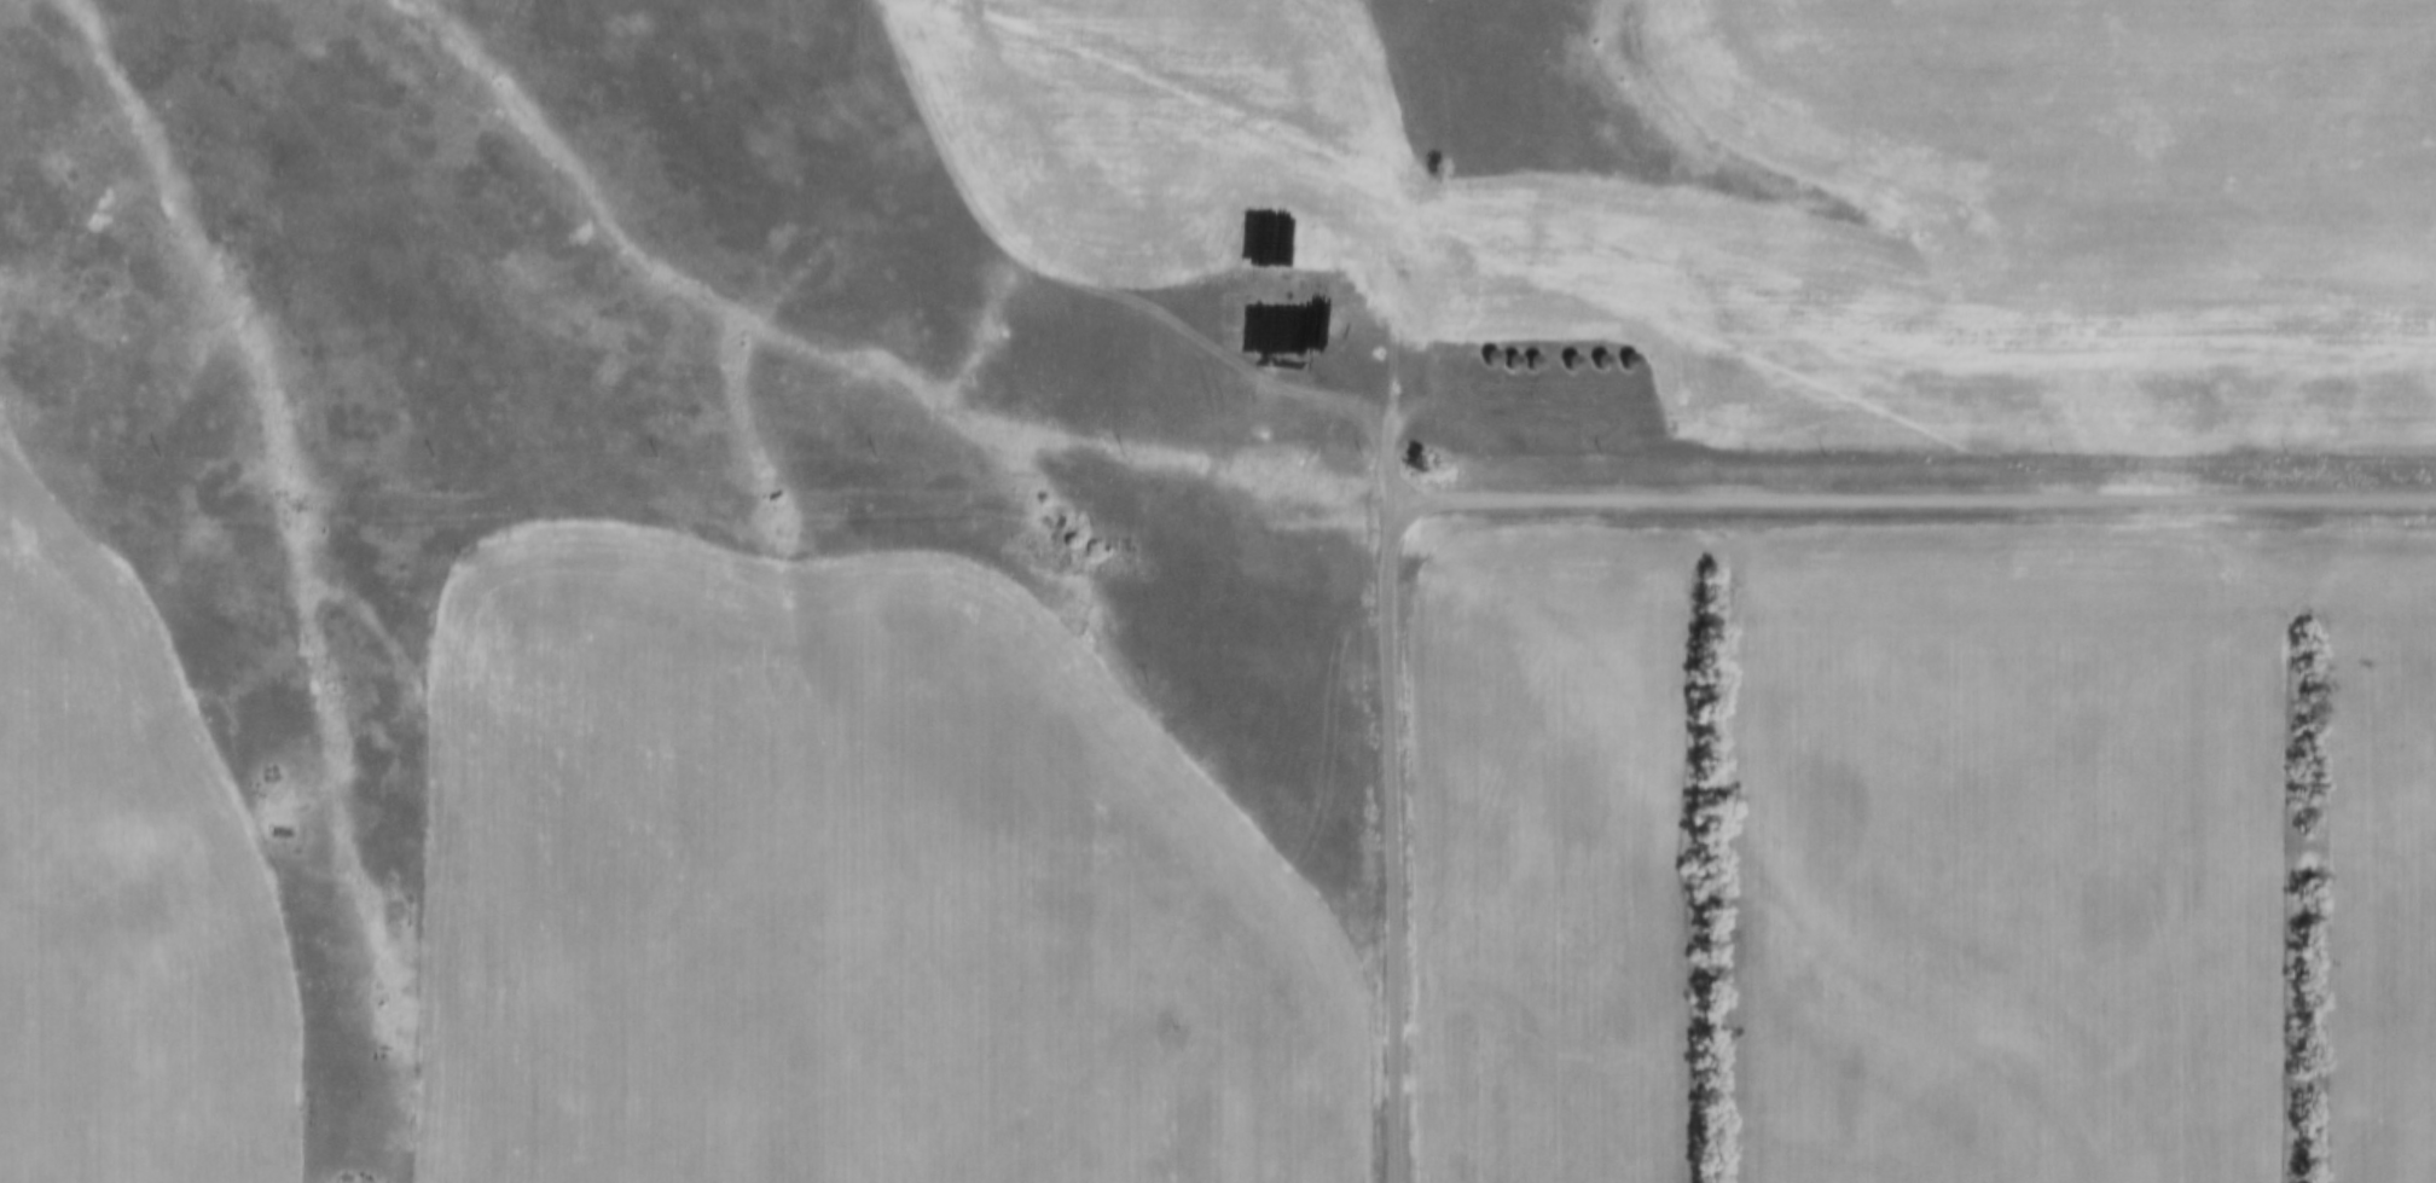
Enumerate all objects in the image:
road: (1118, 288)
road: (1916, 503)
road: (1388, 845)
road: (912, 924)

